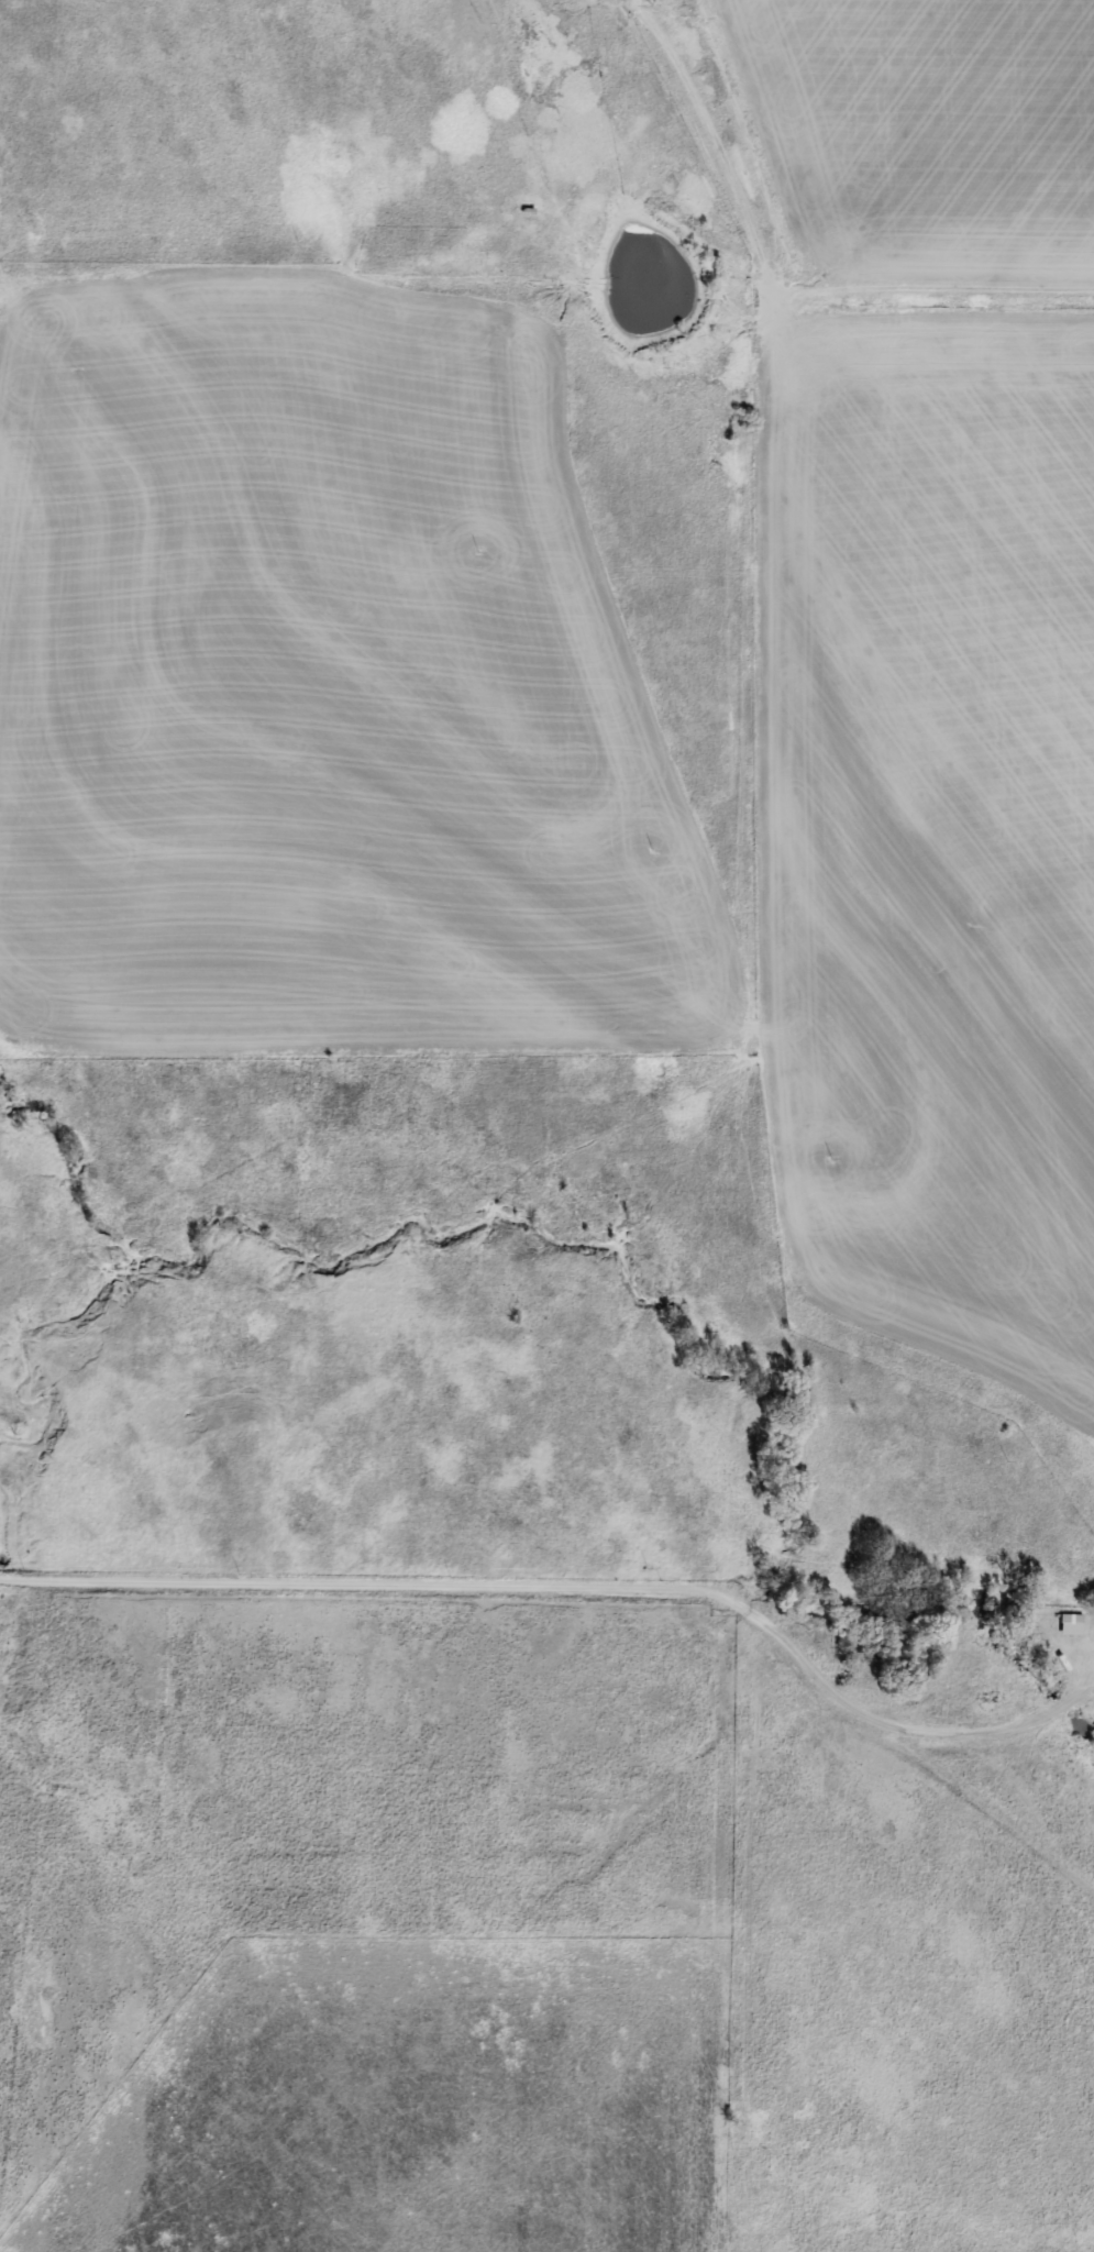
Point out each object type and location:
road: (780, 272)
road: (368, 1581)
building: (1069, 1625)

